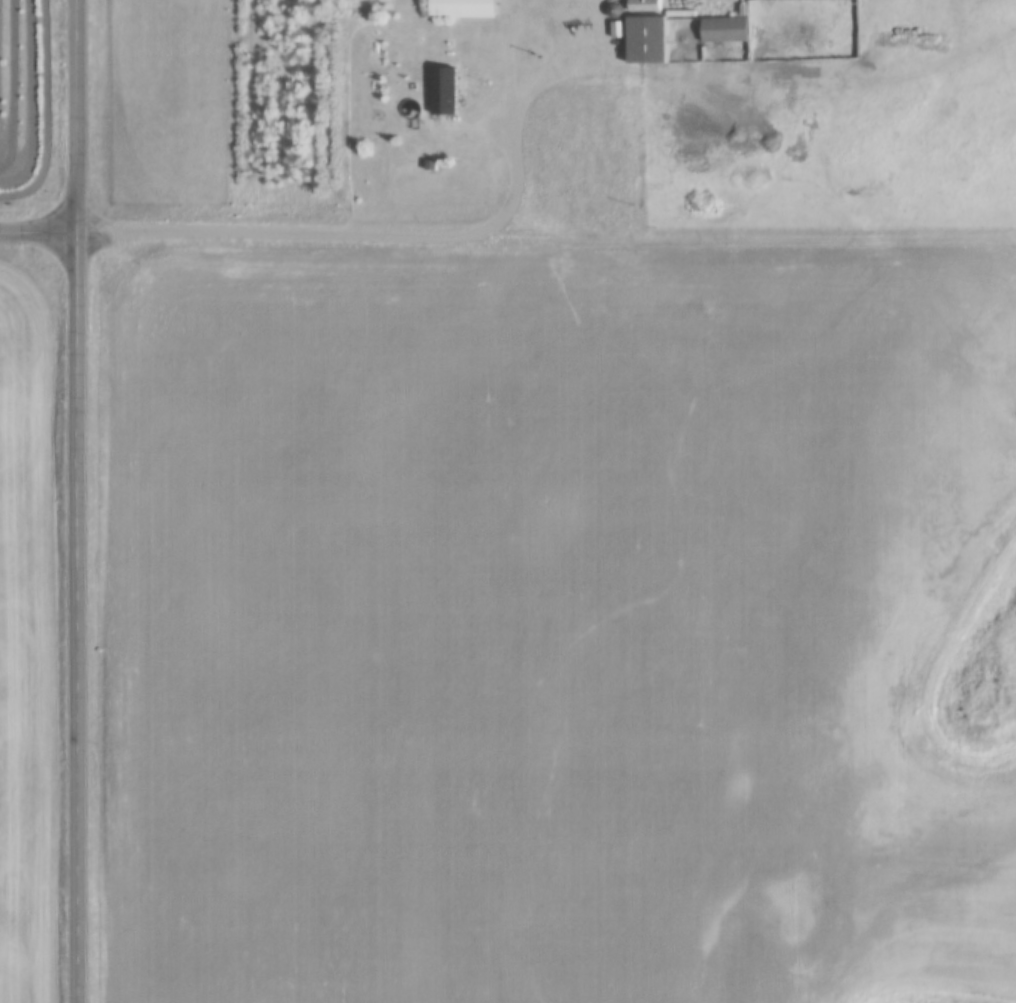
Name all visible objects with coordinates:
building: (821, 0)
road: (549, 8)
building: (474, 9)
building: (732, 31)
building: (655, 40)
building: (458, 92)
road: (39, 234)
road: (473, 235)
road: (78, 501)

